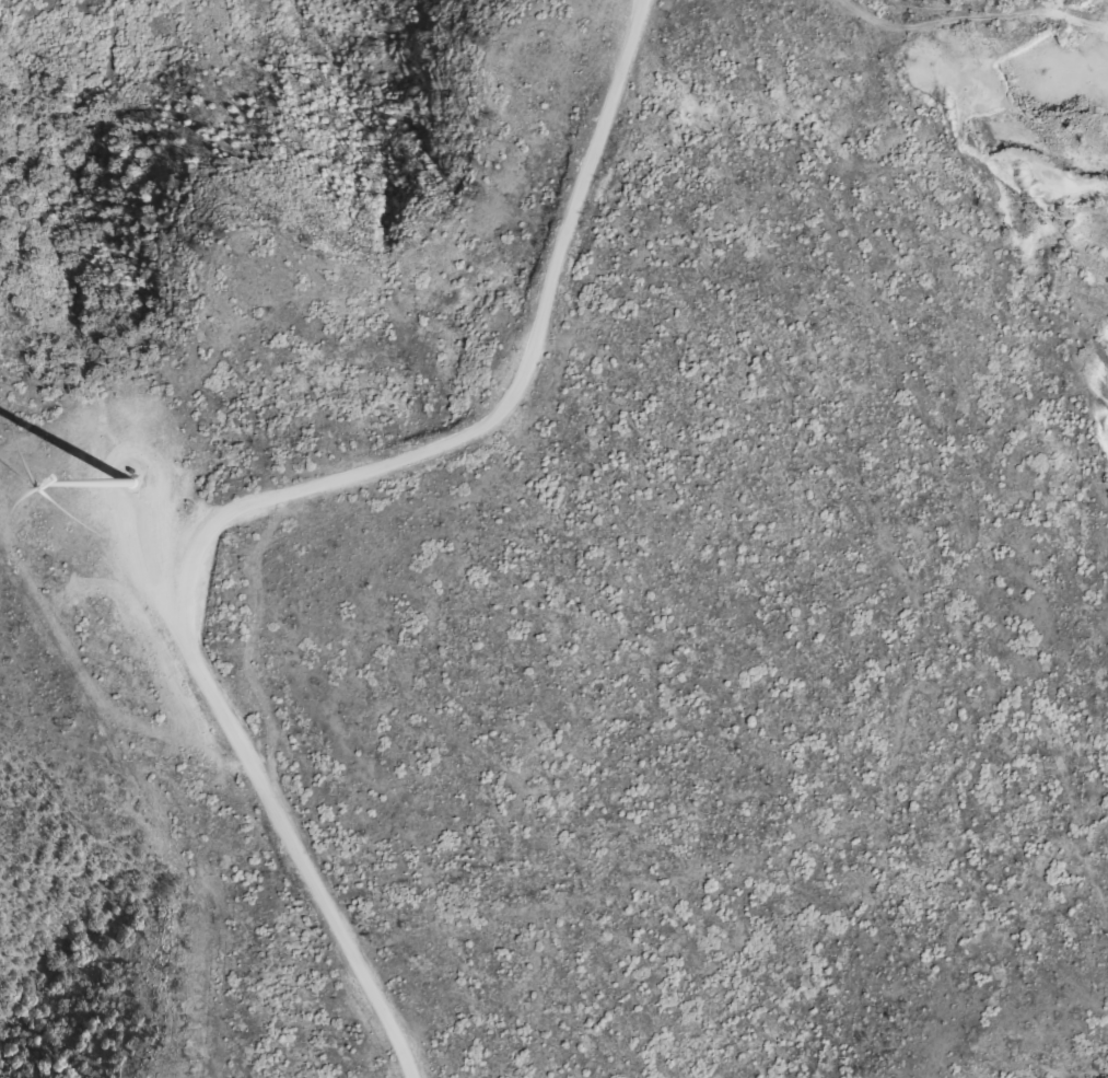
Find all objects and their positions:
wind turbine: (138, 475)

